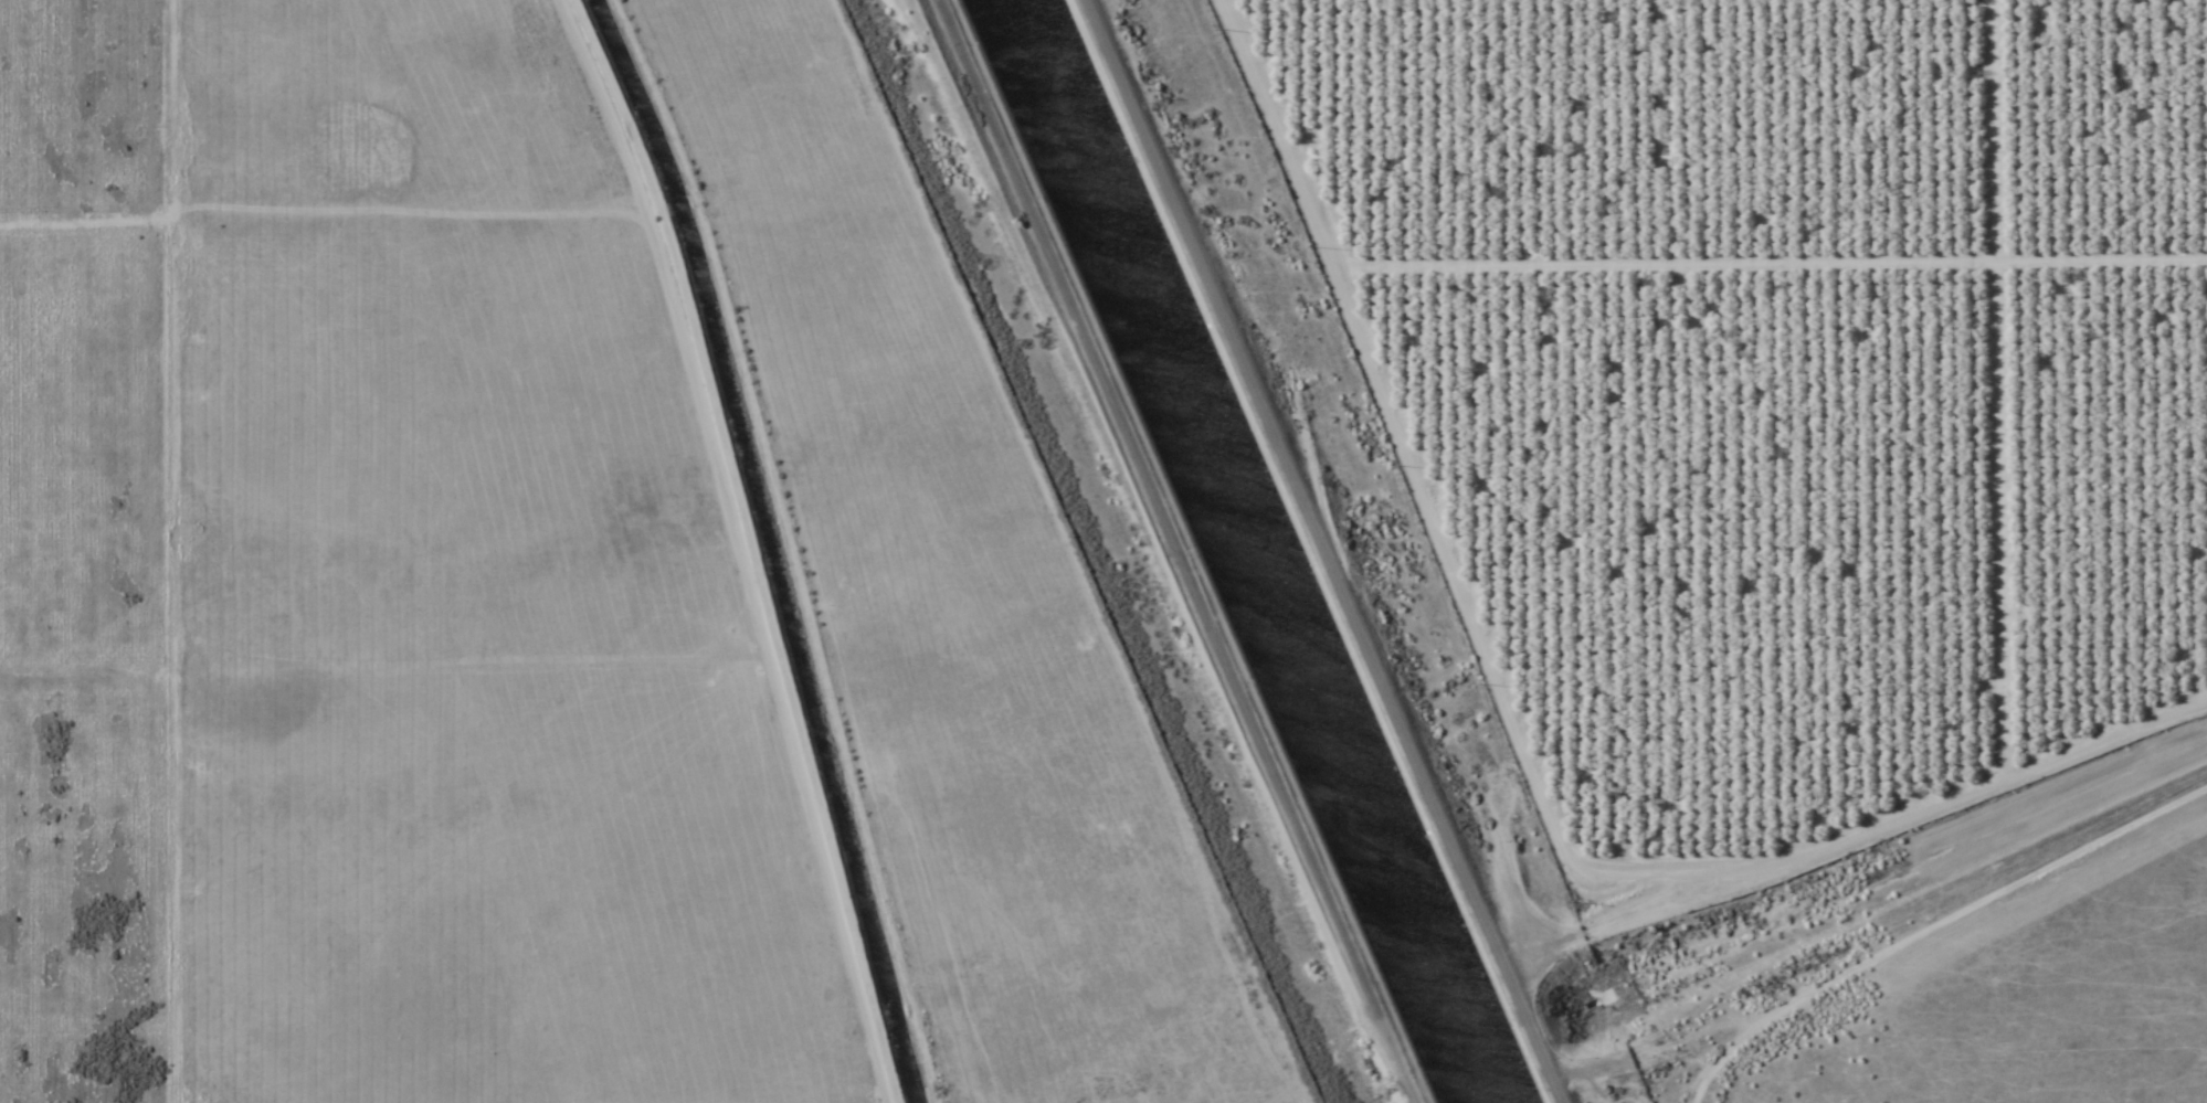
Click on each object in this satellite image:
road: (1333, 550)
road: (1176, 552)

